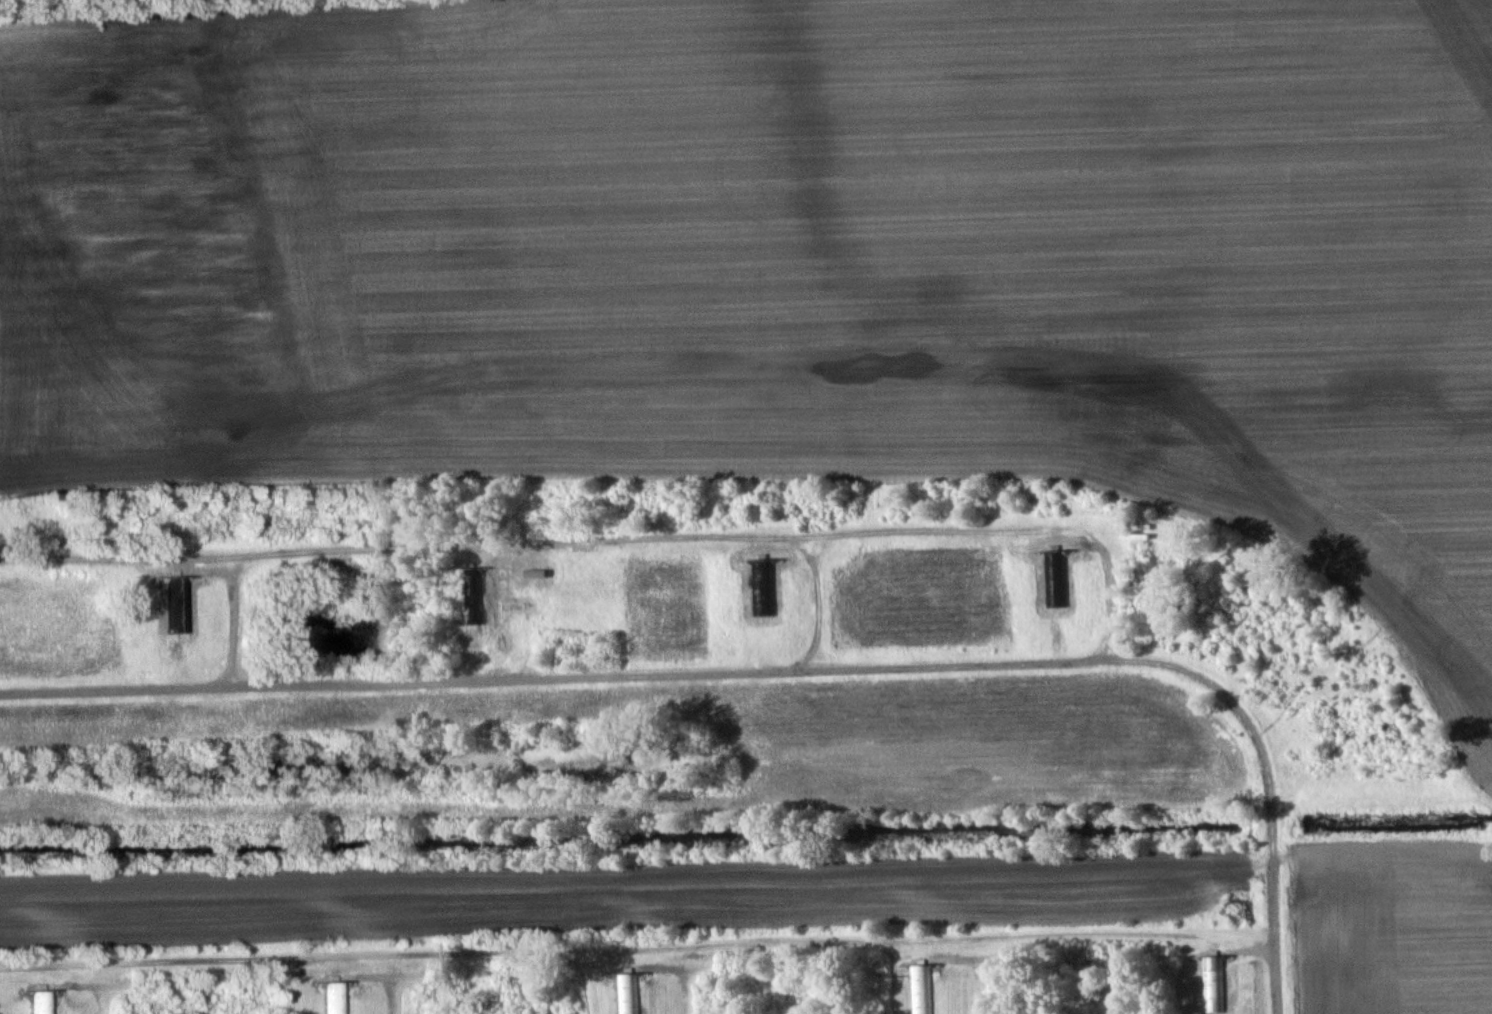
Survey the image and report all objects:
building: (177, 611)
road: (618, 672)
road: (1271, 830)
road: (593, 950)

